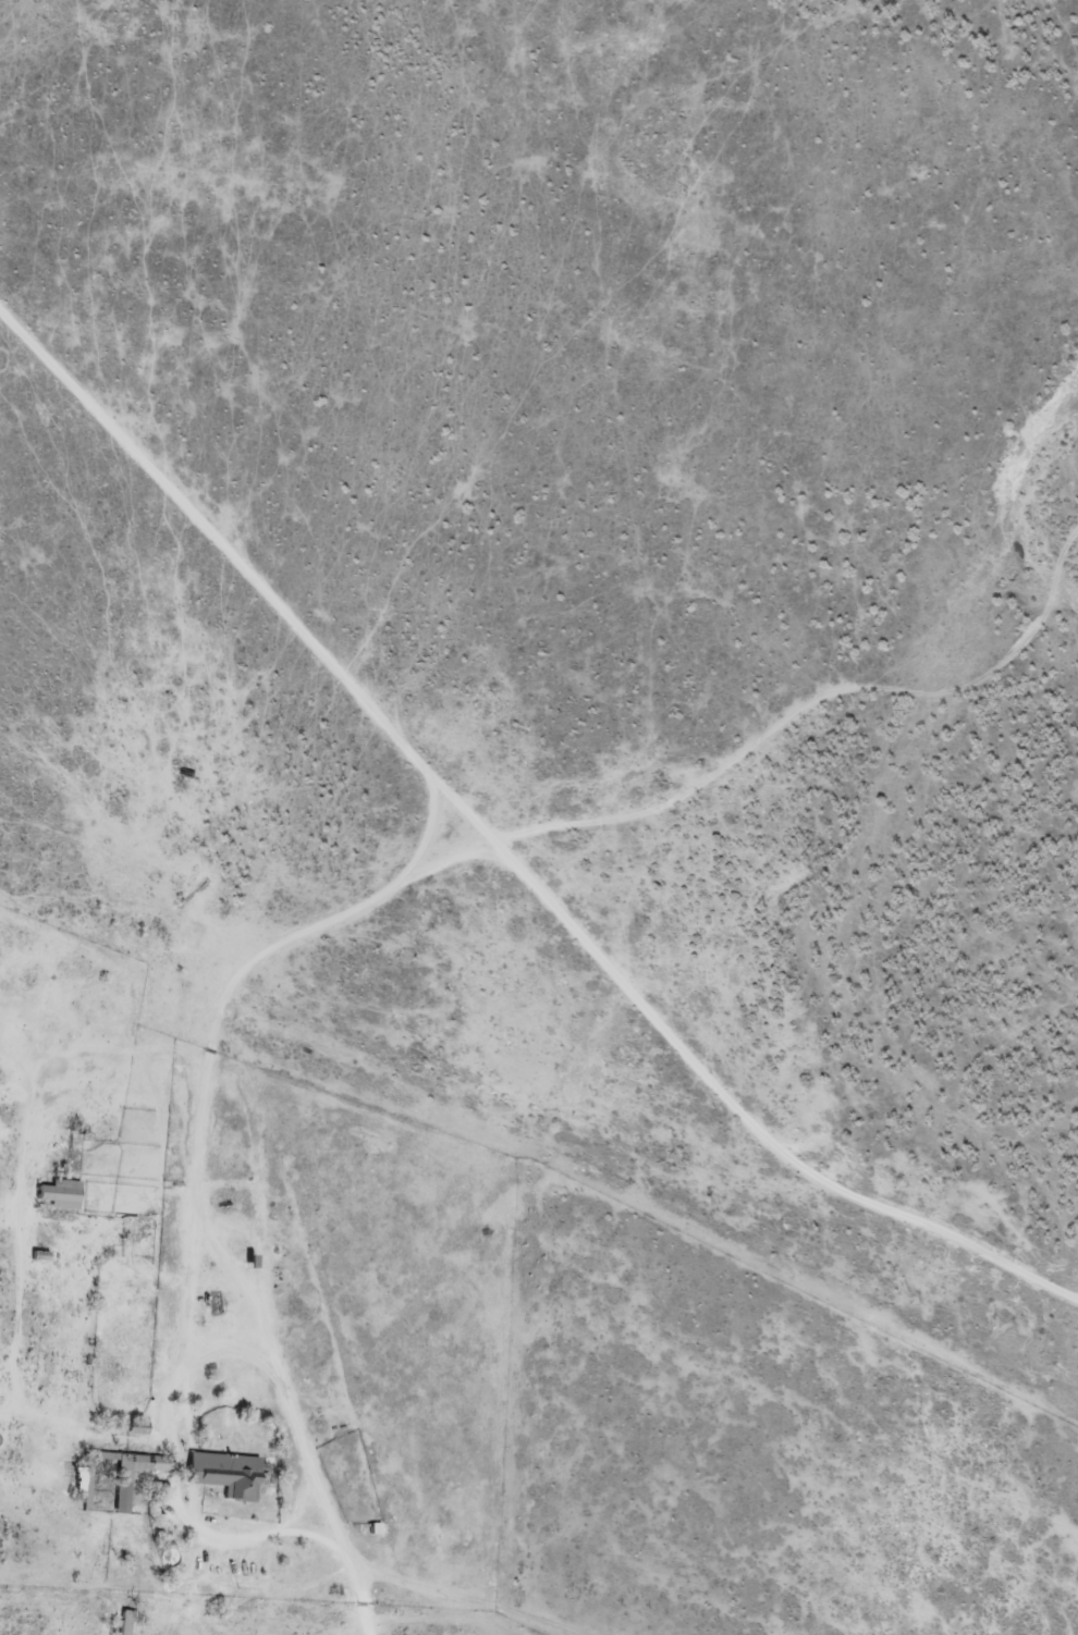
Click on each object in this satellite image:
road: (335, 737)
road: (551, 875)
road: (681, 1140)
building: (59, 1194)
road: (207, 1313)
building: (224, 1473)
building: (74, 1477)
building: (122, 1492)
road: (87, 1572)
building: (124, 1623)
road: (168, 1632)

